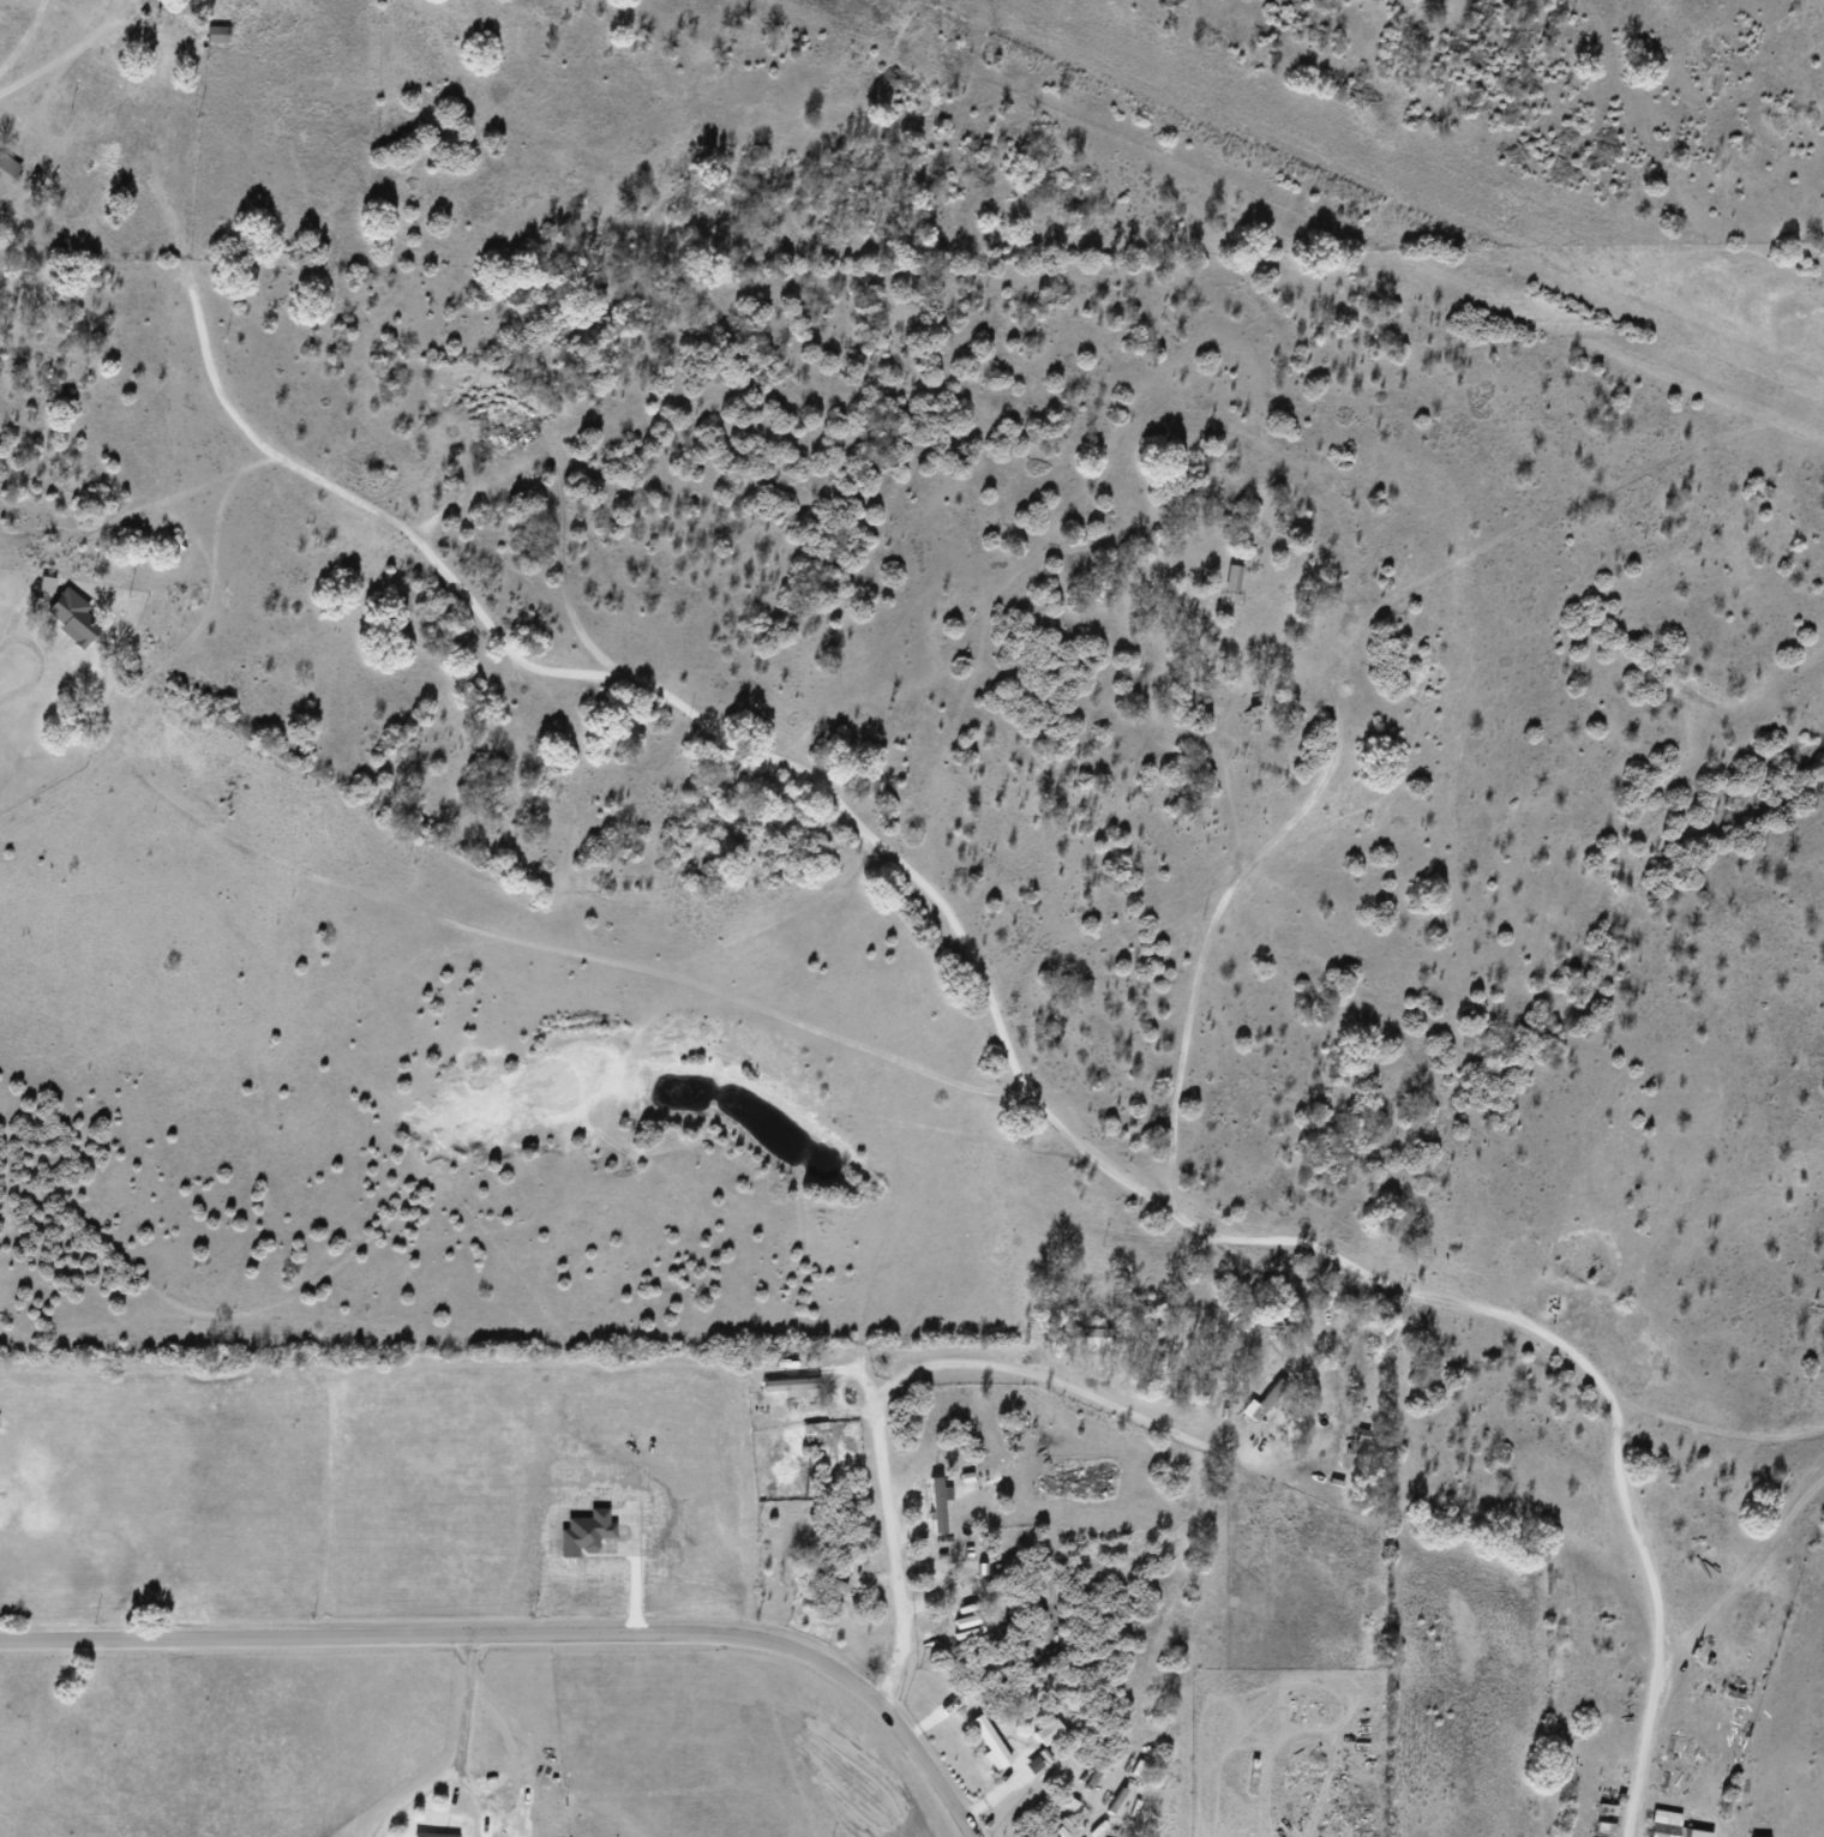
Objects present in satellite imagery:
building: (220, 35)
building: (474, 132)
building: (7, 170)
building: (1234, 577)
building: (73, 616)
road: (37, 664)
road: (901, 1379)
building: (788, 1383)
building: (1268, 1399)
building: (1364, 1437)
building: (944, 1507)
building: (822, 1578)
road: (532, 1646)
road: (472, 1717)
building: (992, 1739)
road: (989, 1795)
building: (1608, 1809)
building: (1607, 1825)
building: (1673, 1825)
building: (436, 1835)

